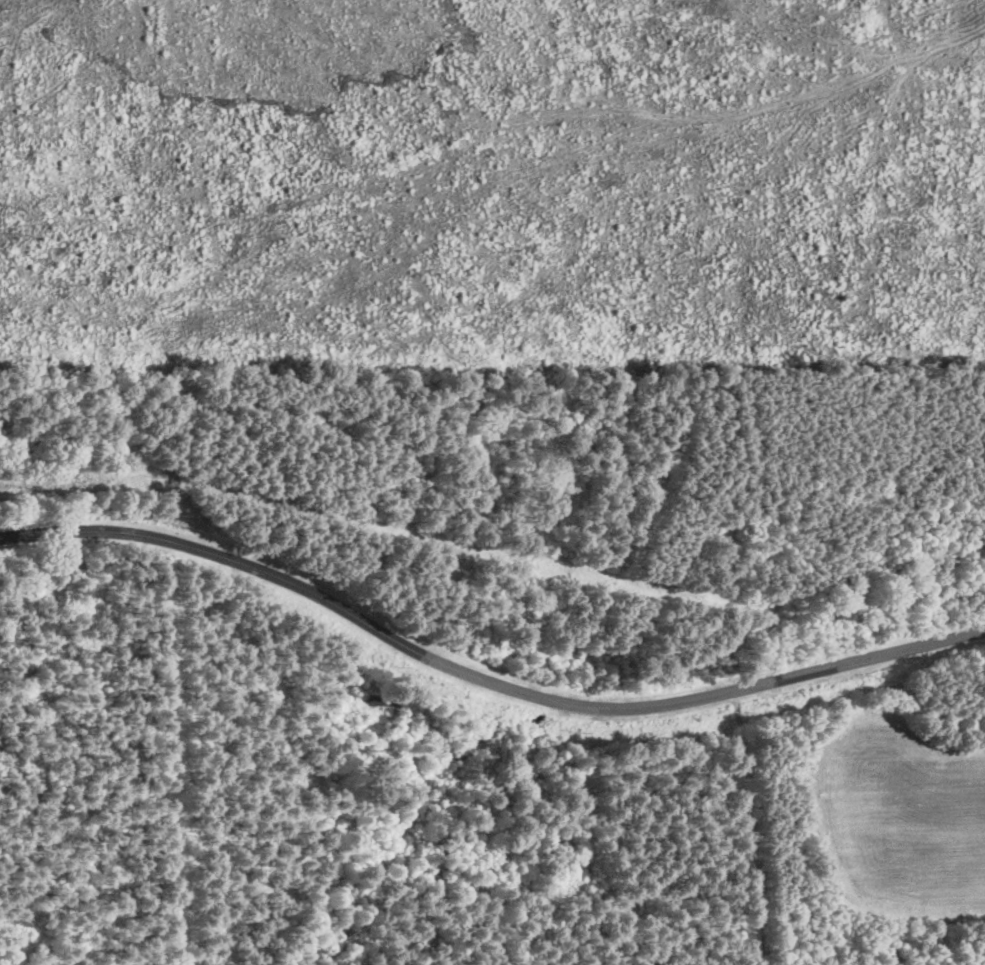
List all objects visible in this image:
road: (483, 668)

